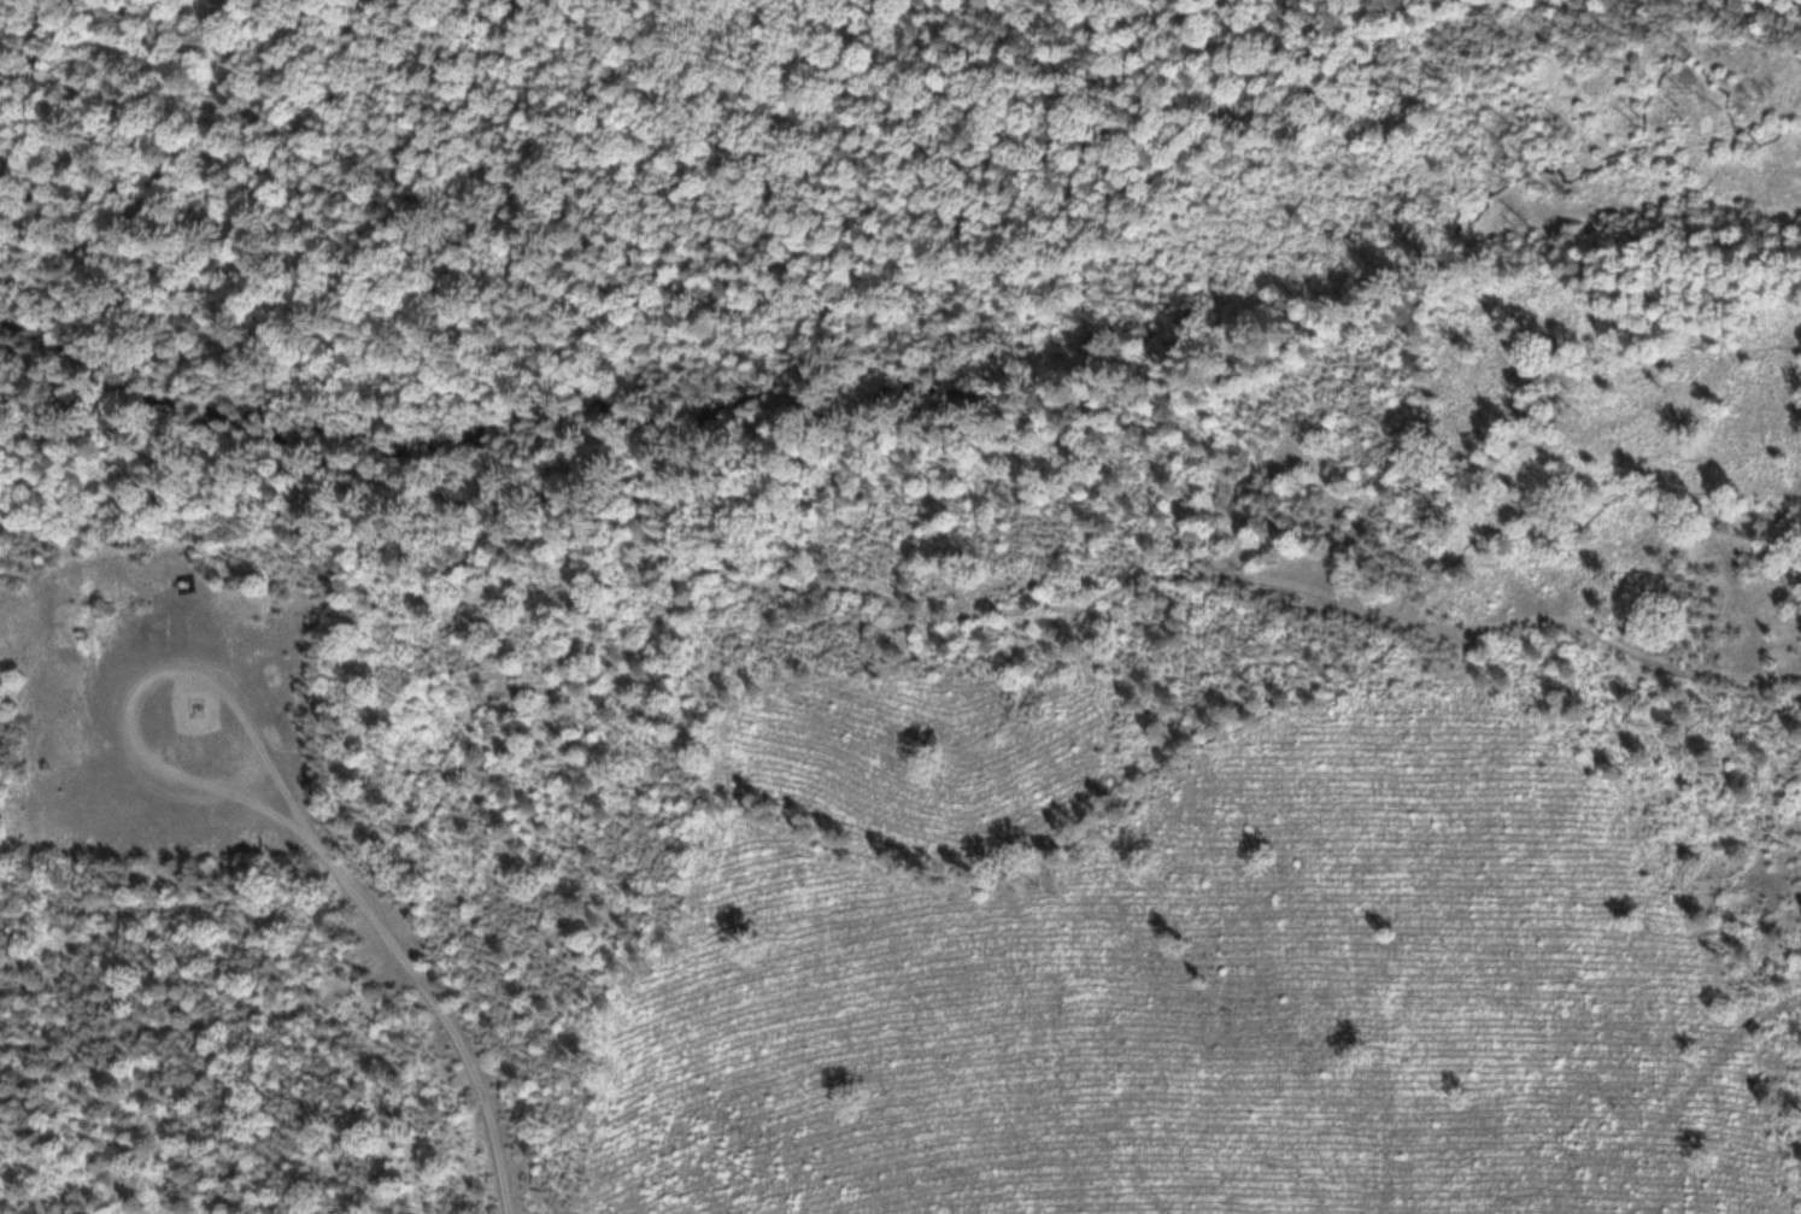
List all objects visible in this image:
road: (838, 77)
road: (435, 207)
road: (826, 392)
road: (1314, 523)
road: (782, 588)
road: (143, 684)
road: (900, 866)
road: (438, 1005)

